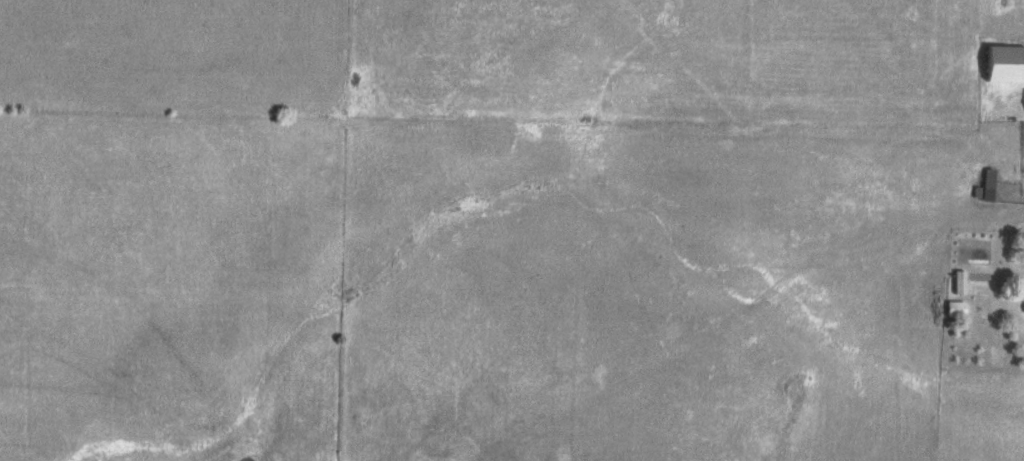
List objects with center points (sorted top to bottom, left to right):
building: (1002, 65)
building: (956, 283)
building: (1023, 310)

